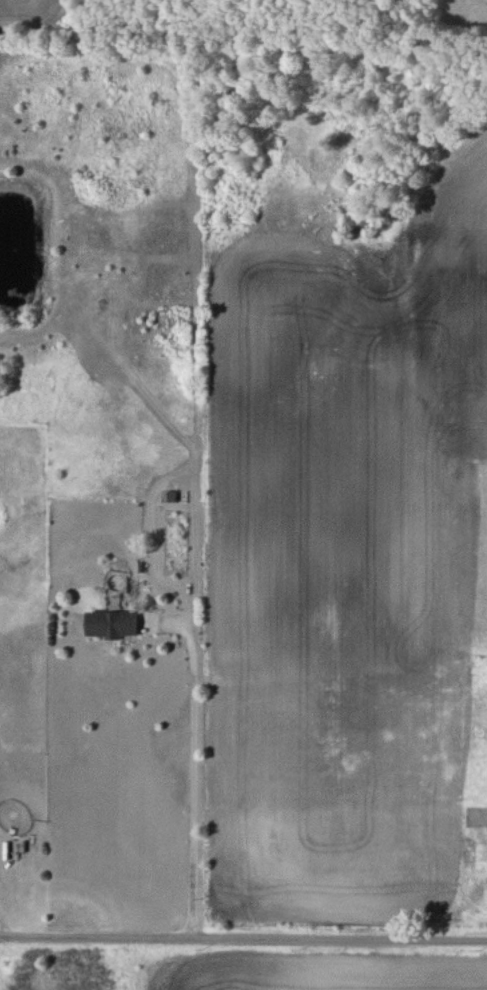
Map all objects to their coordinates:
building: (109, 624)
road: (192, 778)
road: (243, 934)

